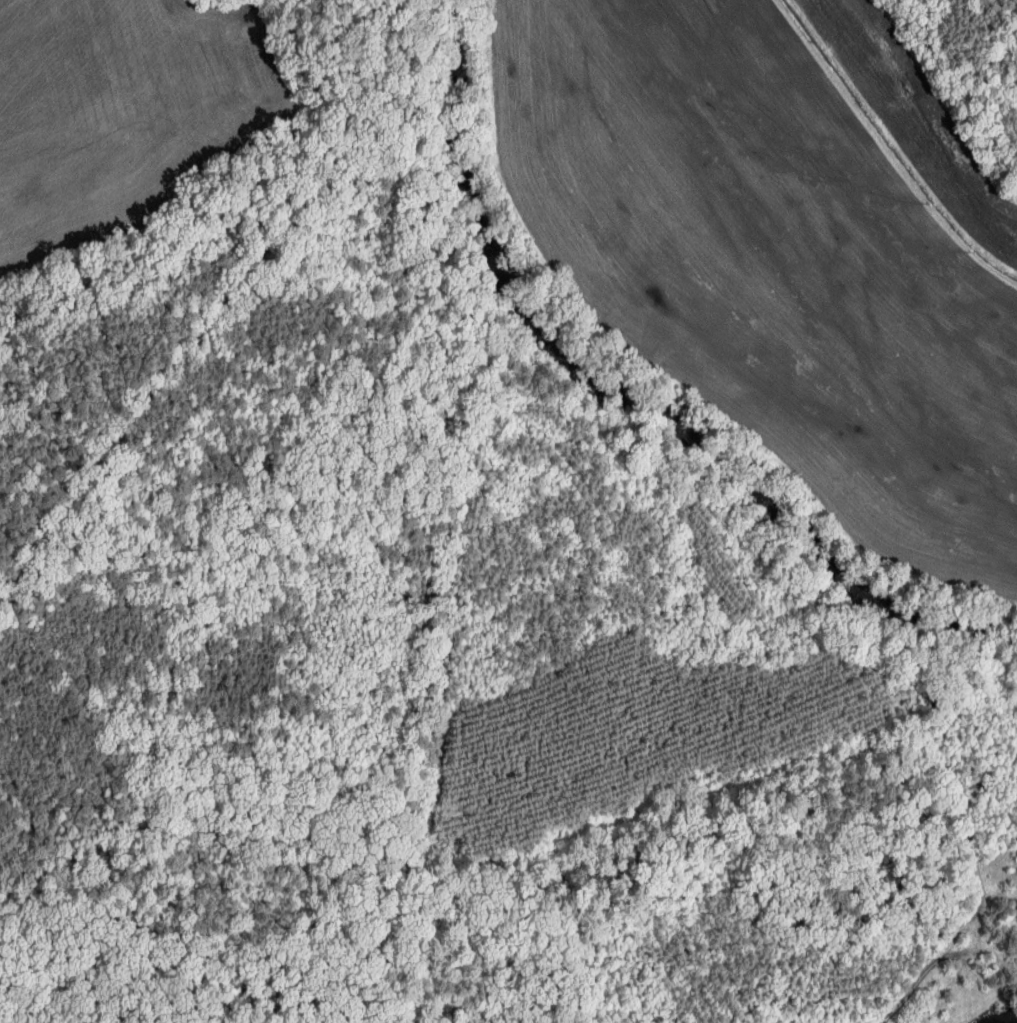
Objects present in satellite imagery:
road: (799, 965)

